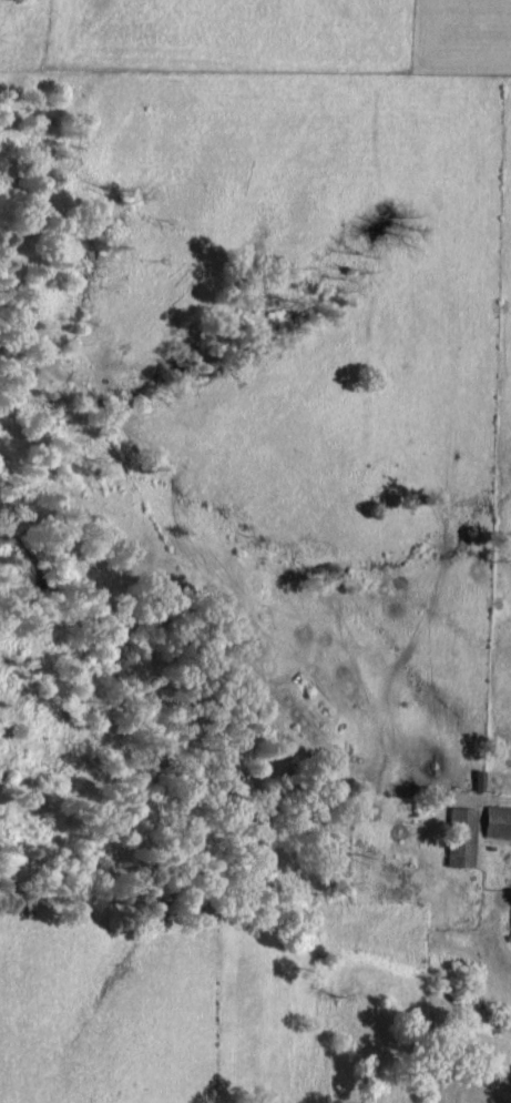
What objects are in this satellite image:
building: (477, 778)
building: (495, 820)
building: (459, 834)

